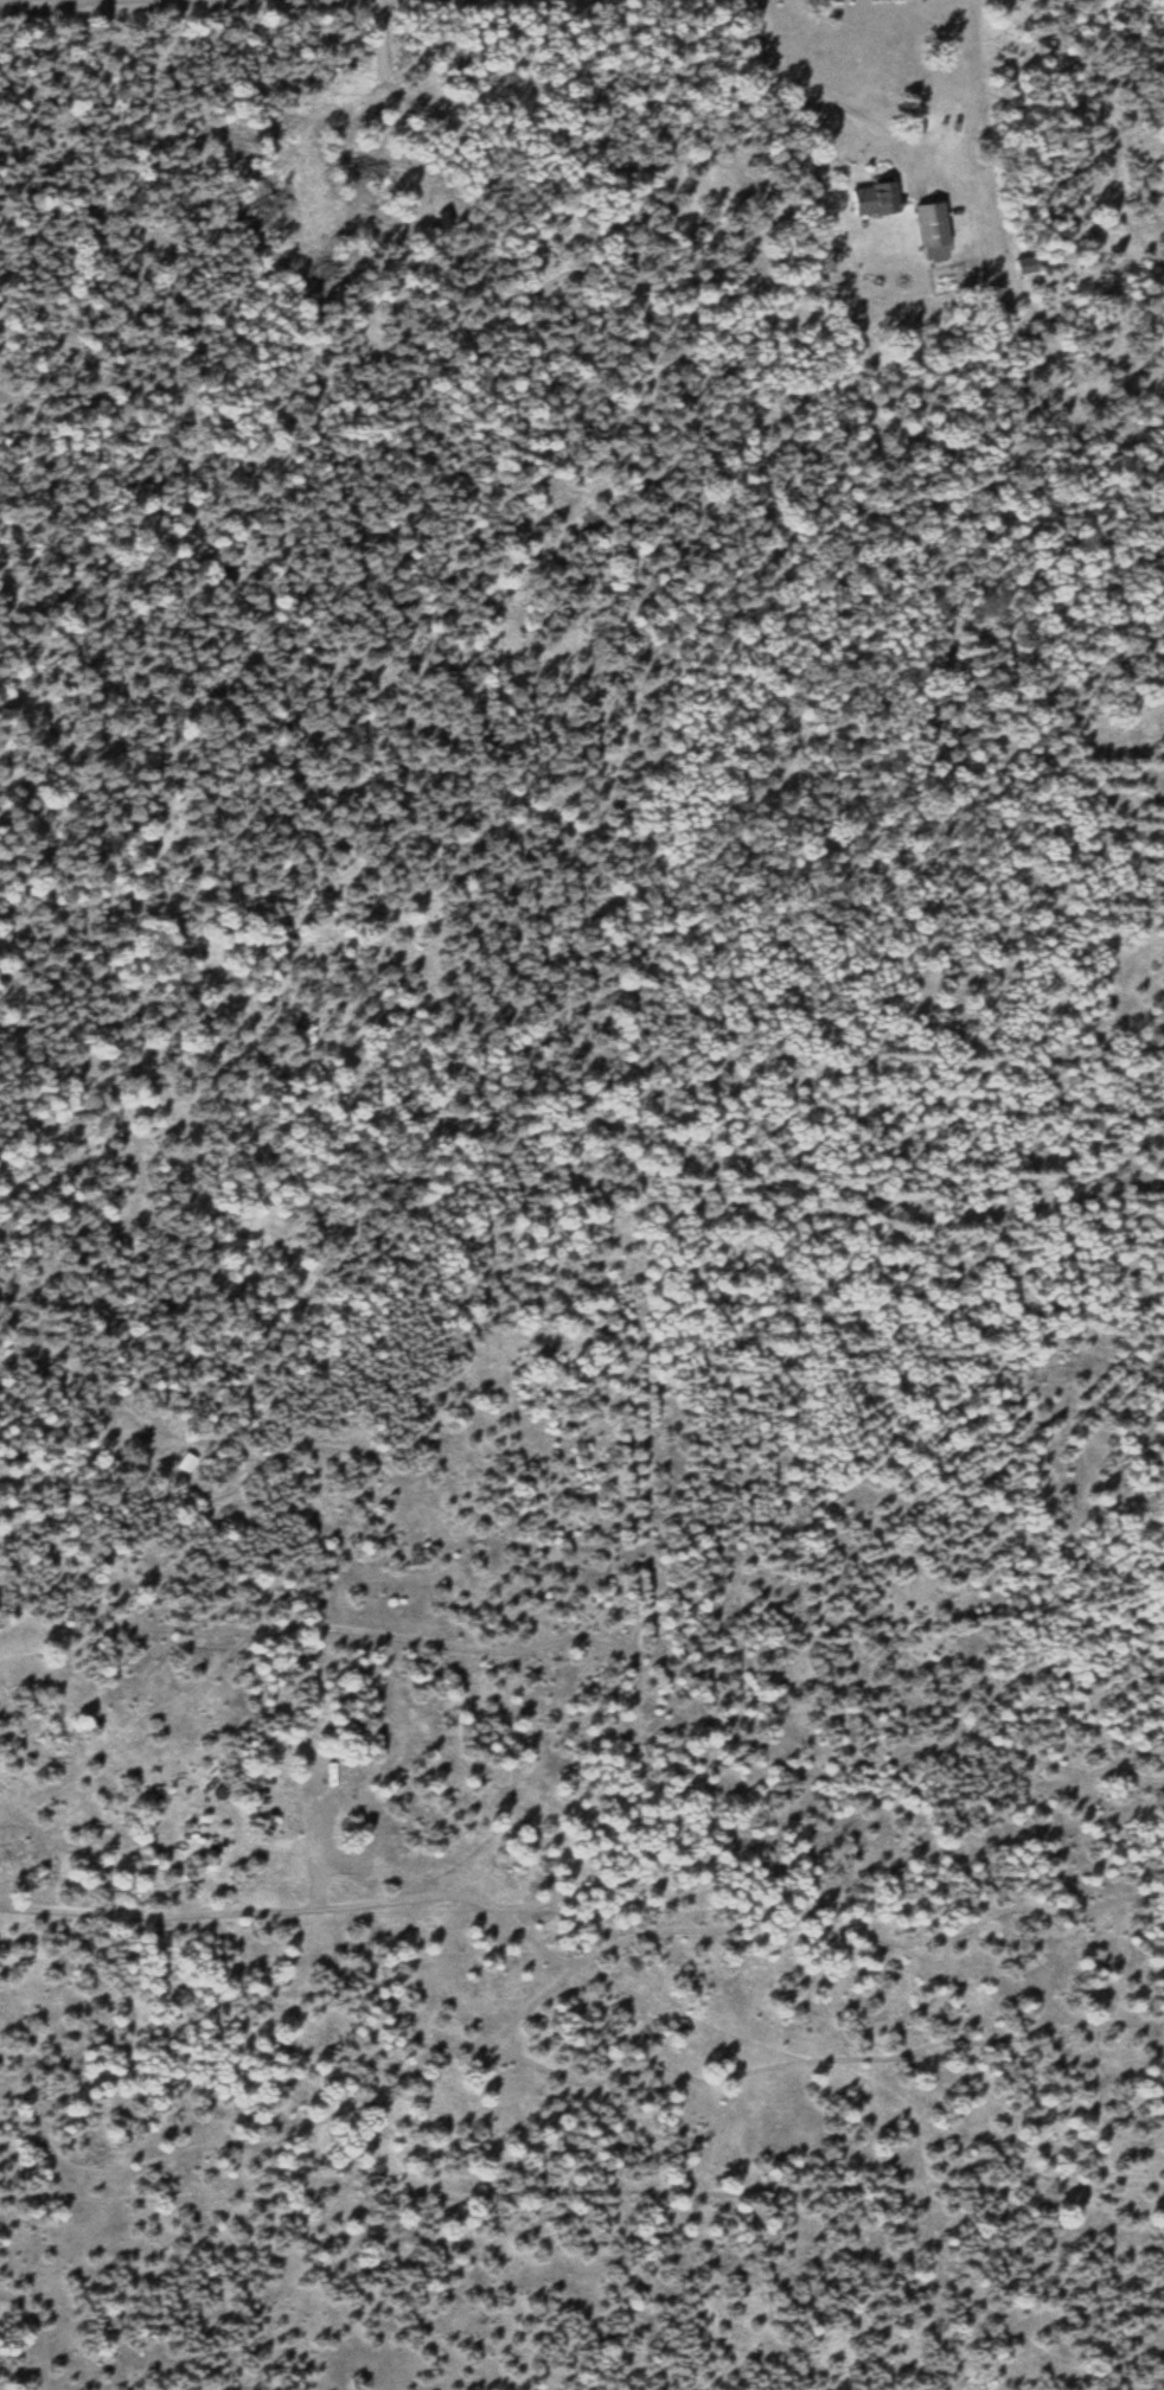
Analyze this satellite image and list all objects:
building: (870, 200)
building: (928, 231)
building: (188, 1464)
building: (333, 1776)

